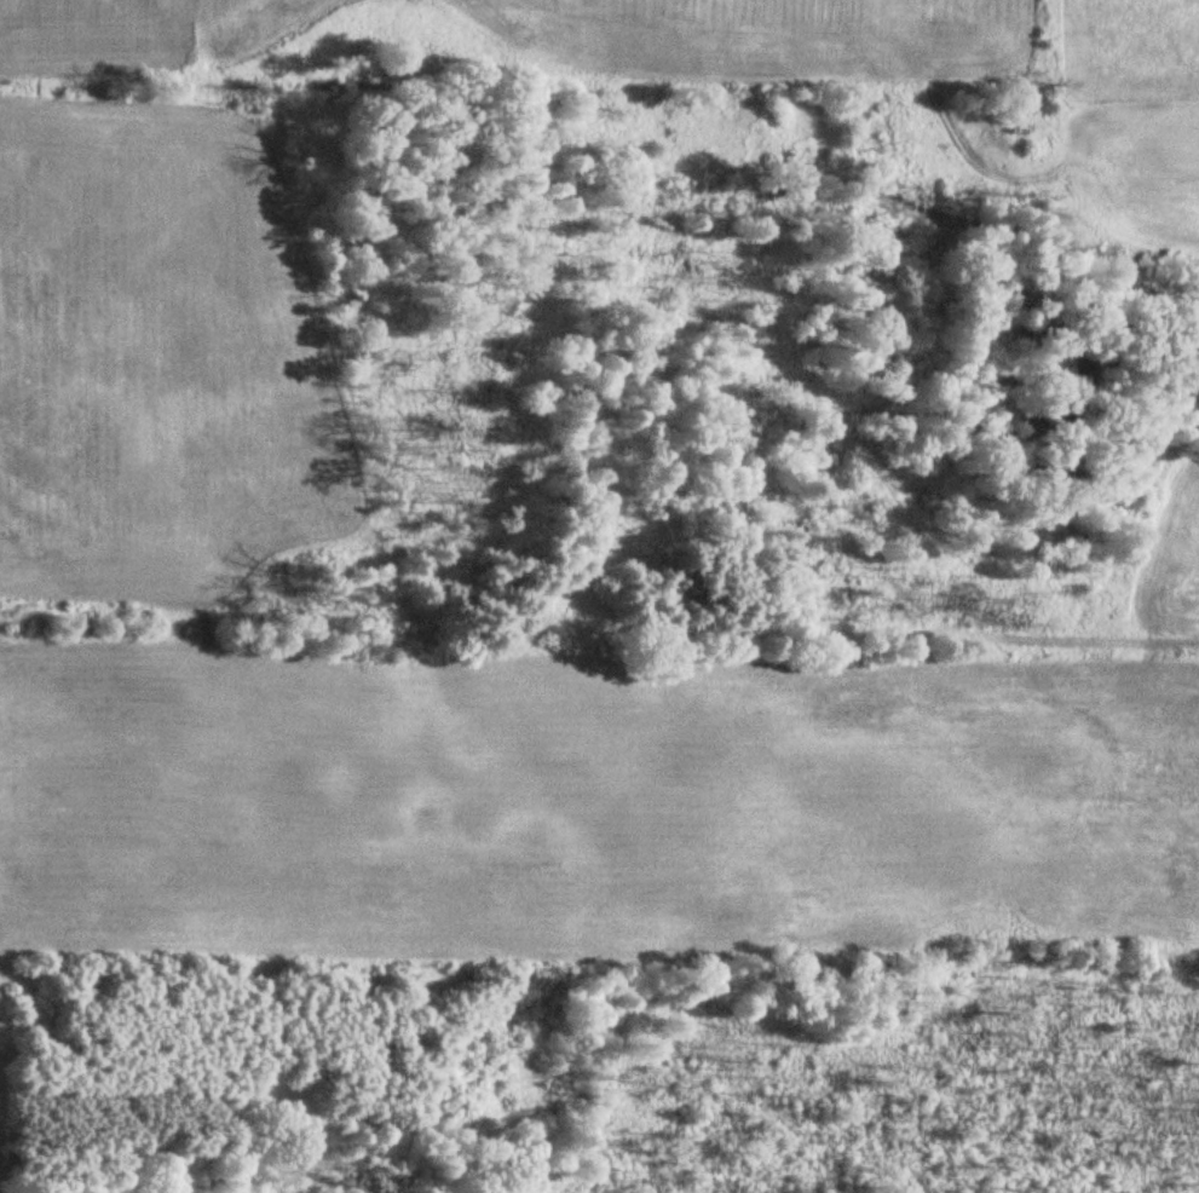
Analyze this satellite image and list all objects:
road: (912, 658)

